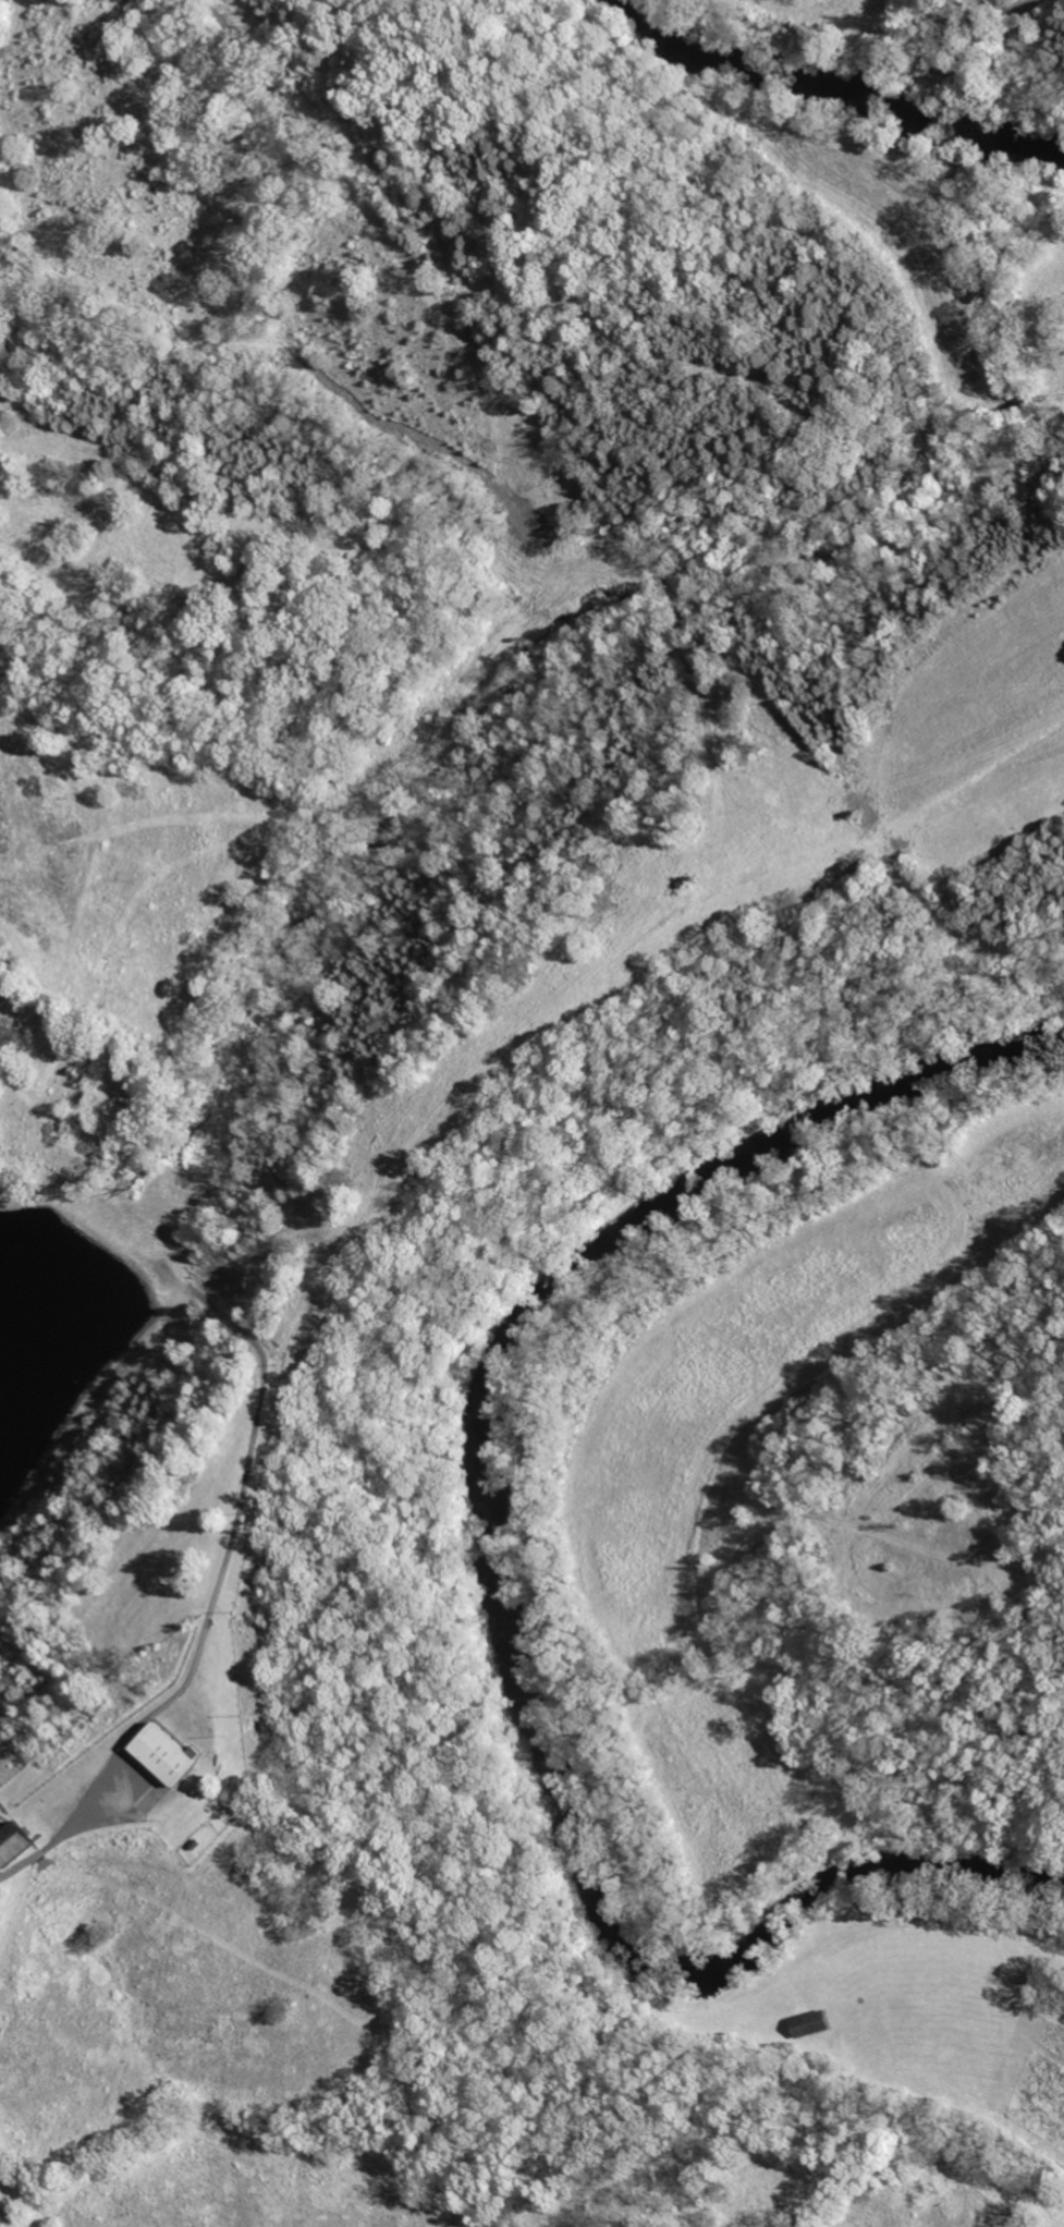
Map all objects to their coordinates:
building: (164, 1757)
building: (11, 1843)
building: (195, 1847)

